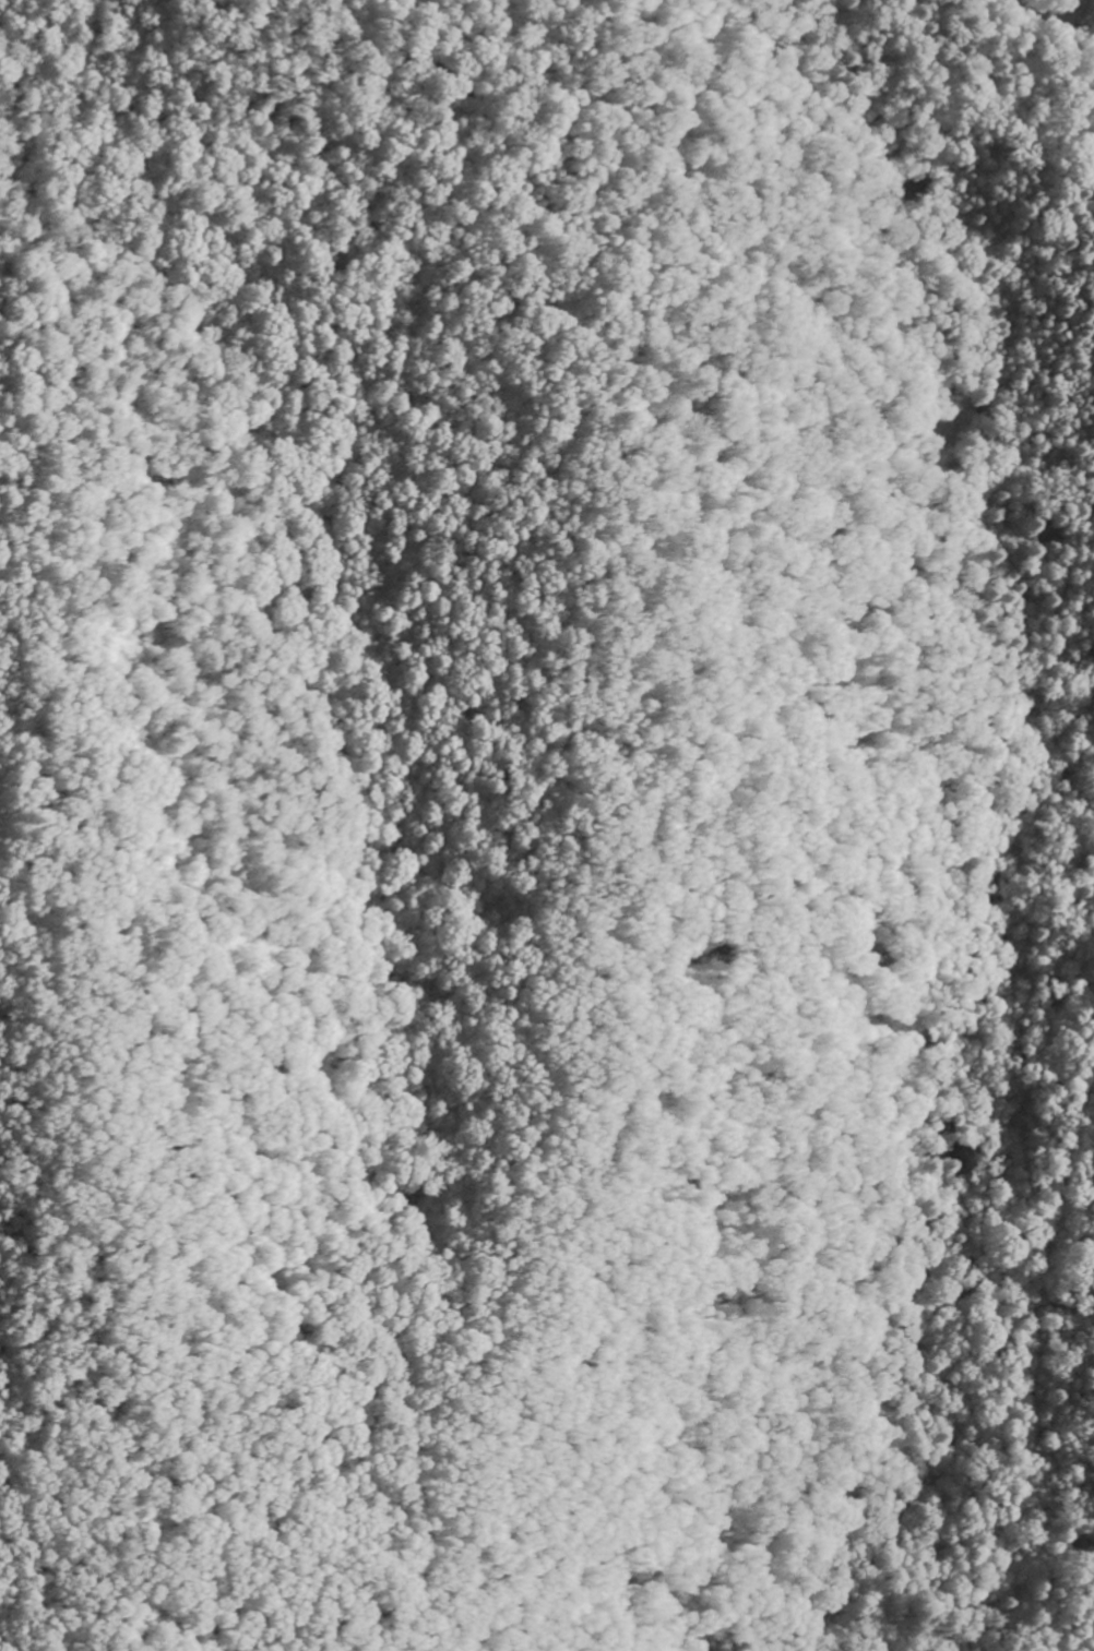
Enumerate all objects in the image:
road: (1047, 16)
road: (1047, 1288)

